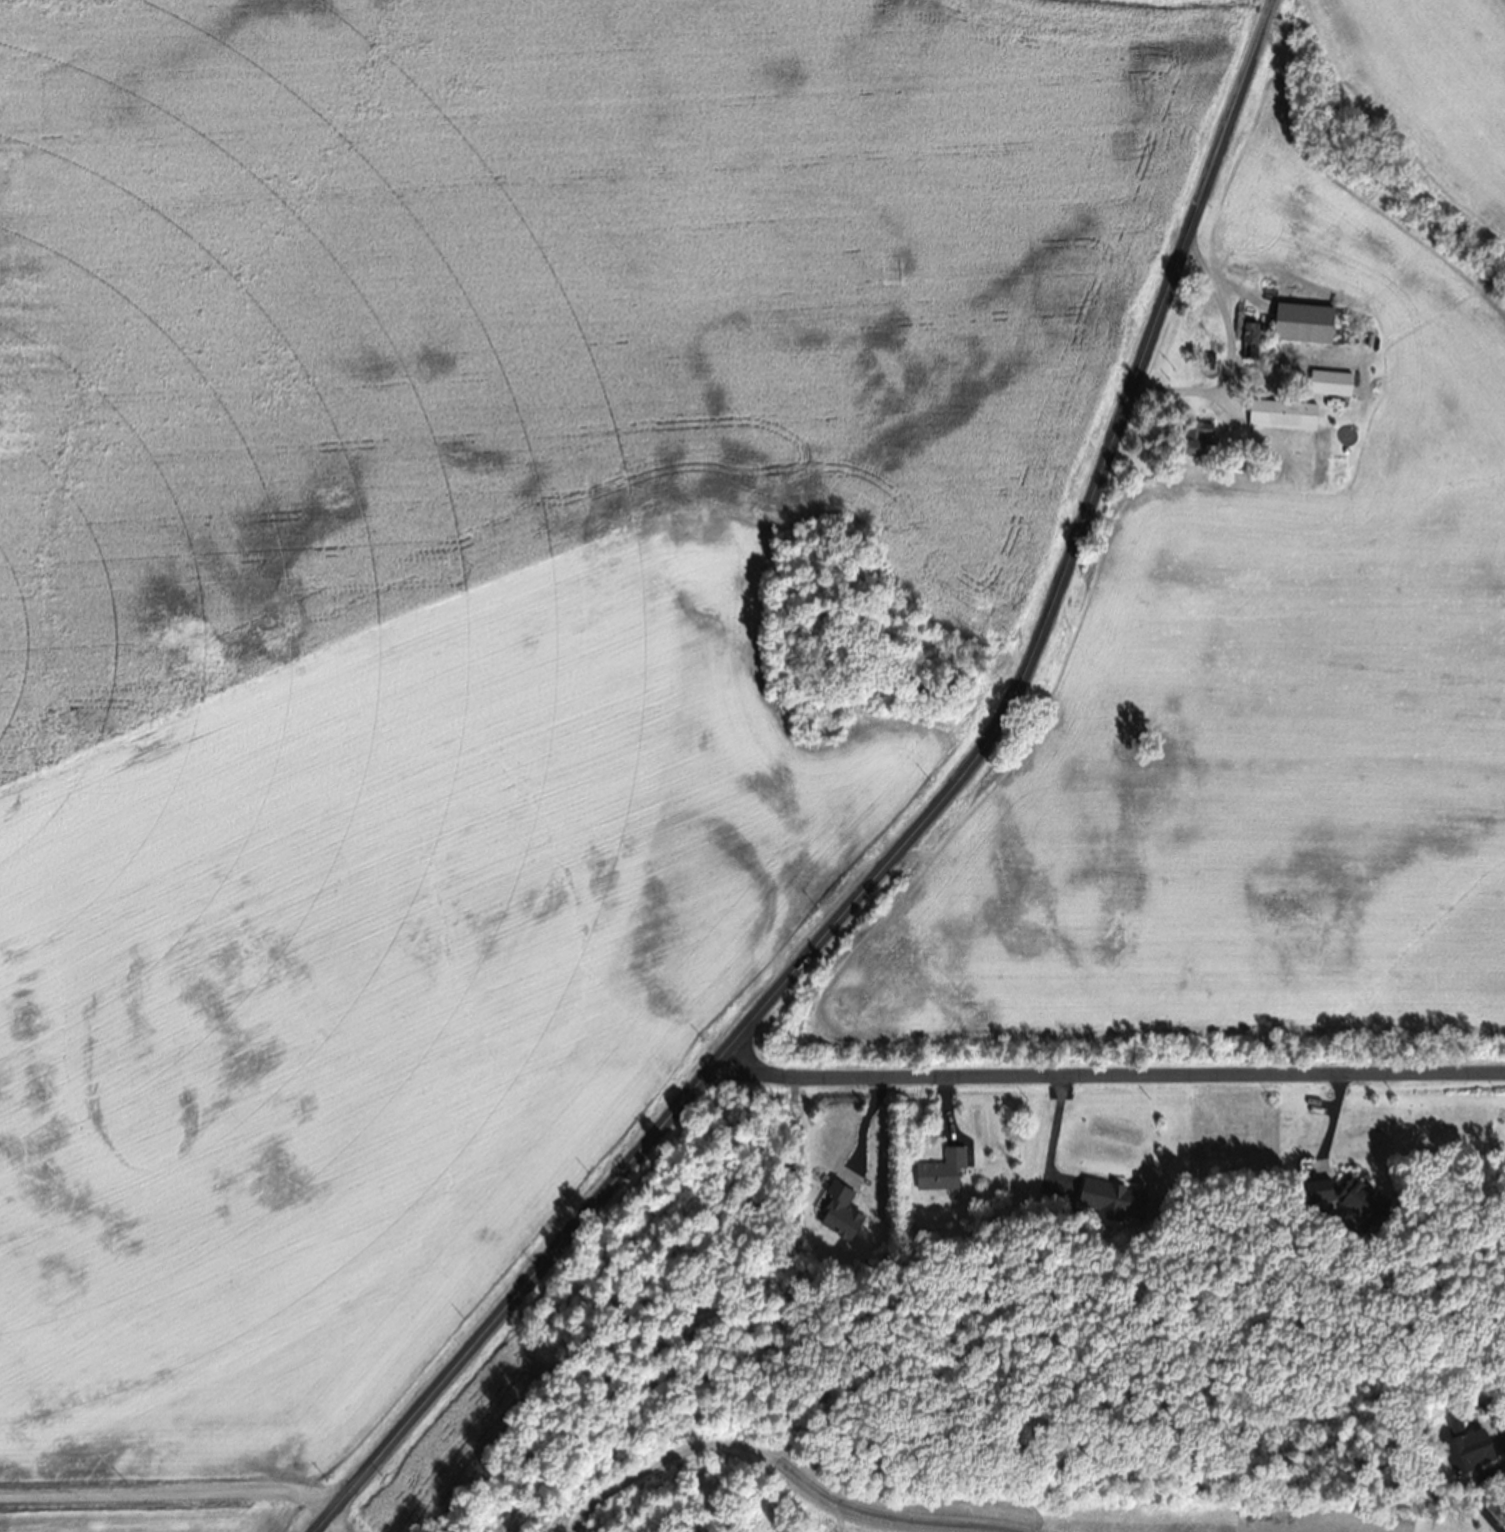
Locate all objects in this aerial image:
building: (1302, 327)
building: (1253, 345)
road: (1228, 352)
building: (1281, 417)
building: (1194, 443)
road: (912, 835)
road: (1111, 1076)
road: (861, 1129)
road: (1051, 1137)
building: (941, 1175)
building: (1318, 1195)
building: (1111, 1200)
building: (840, 1217)
building: (1469, 1453)
crop: (448, 1454)
road: (173, 1497)
road: (1480, 1505)
road: (856, 1509)

